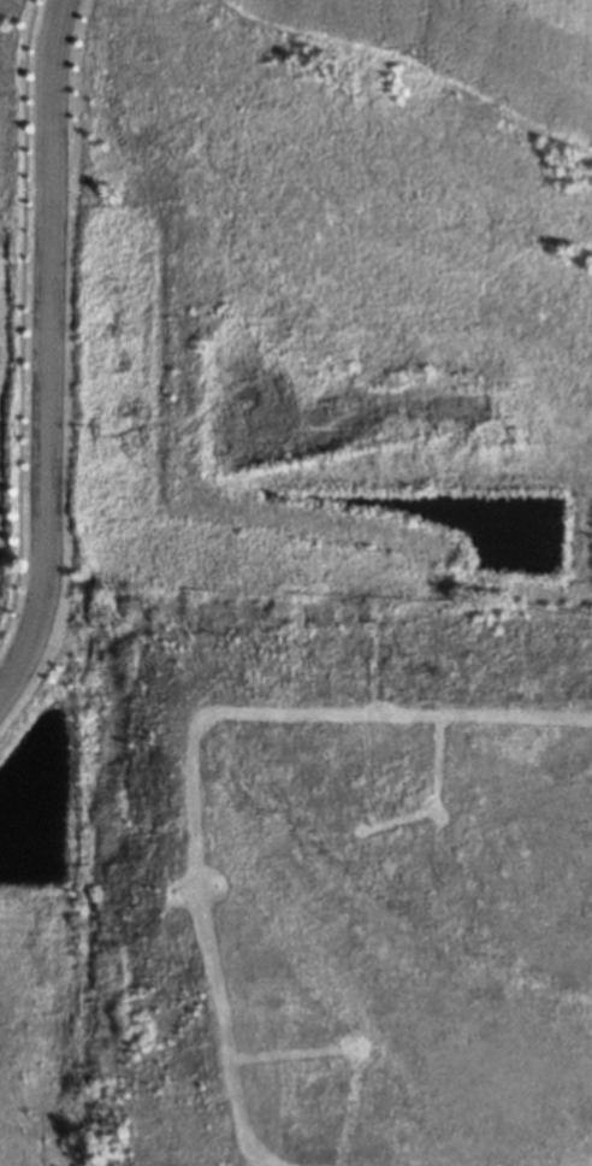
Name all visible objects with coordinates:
road: (49, 353)

